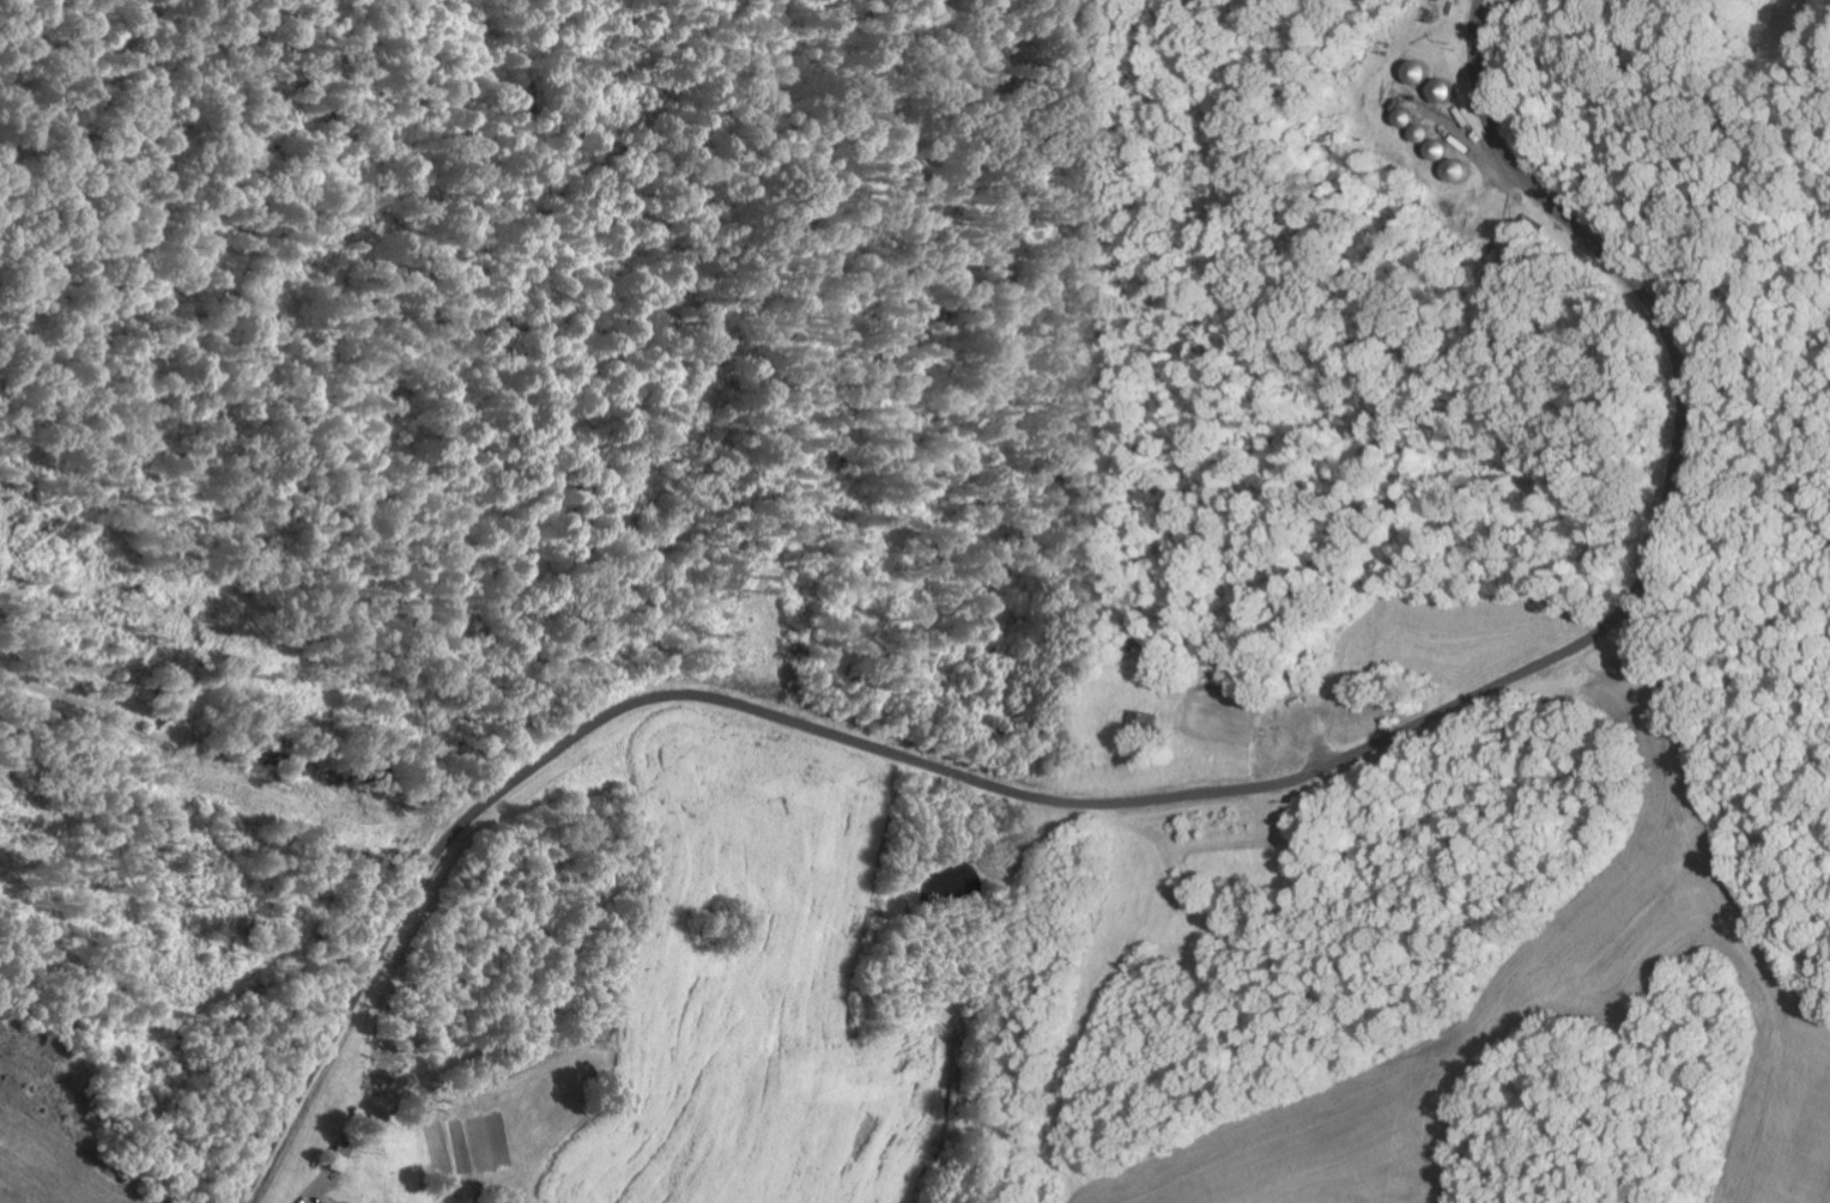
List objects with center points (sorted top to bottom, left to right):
road: (1171, 798)
building: (338, 1158)

